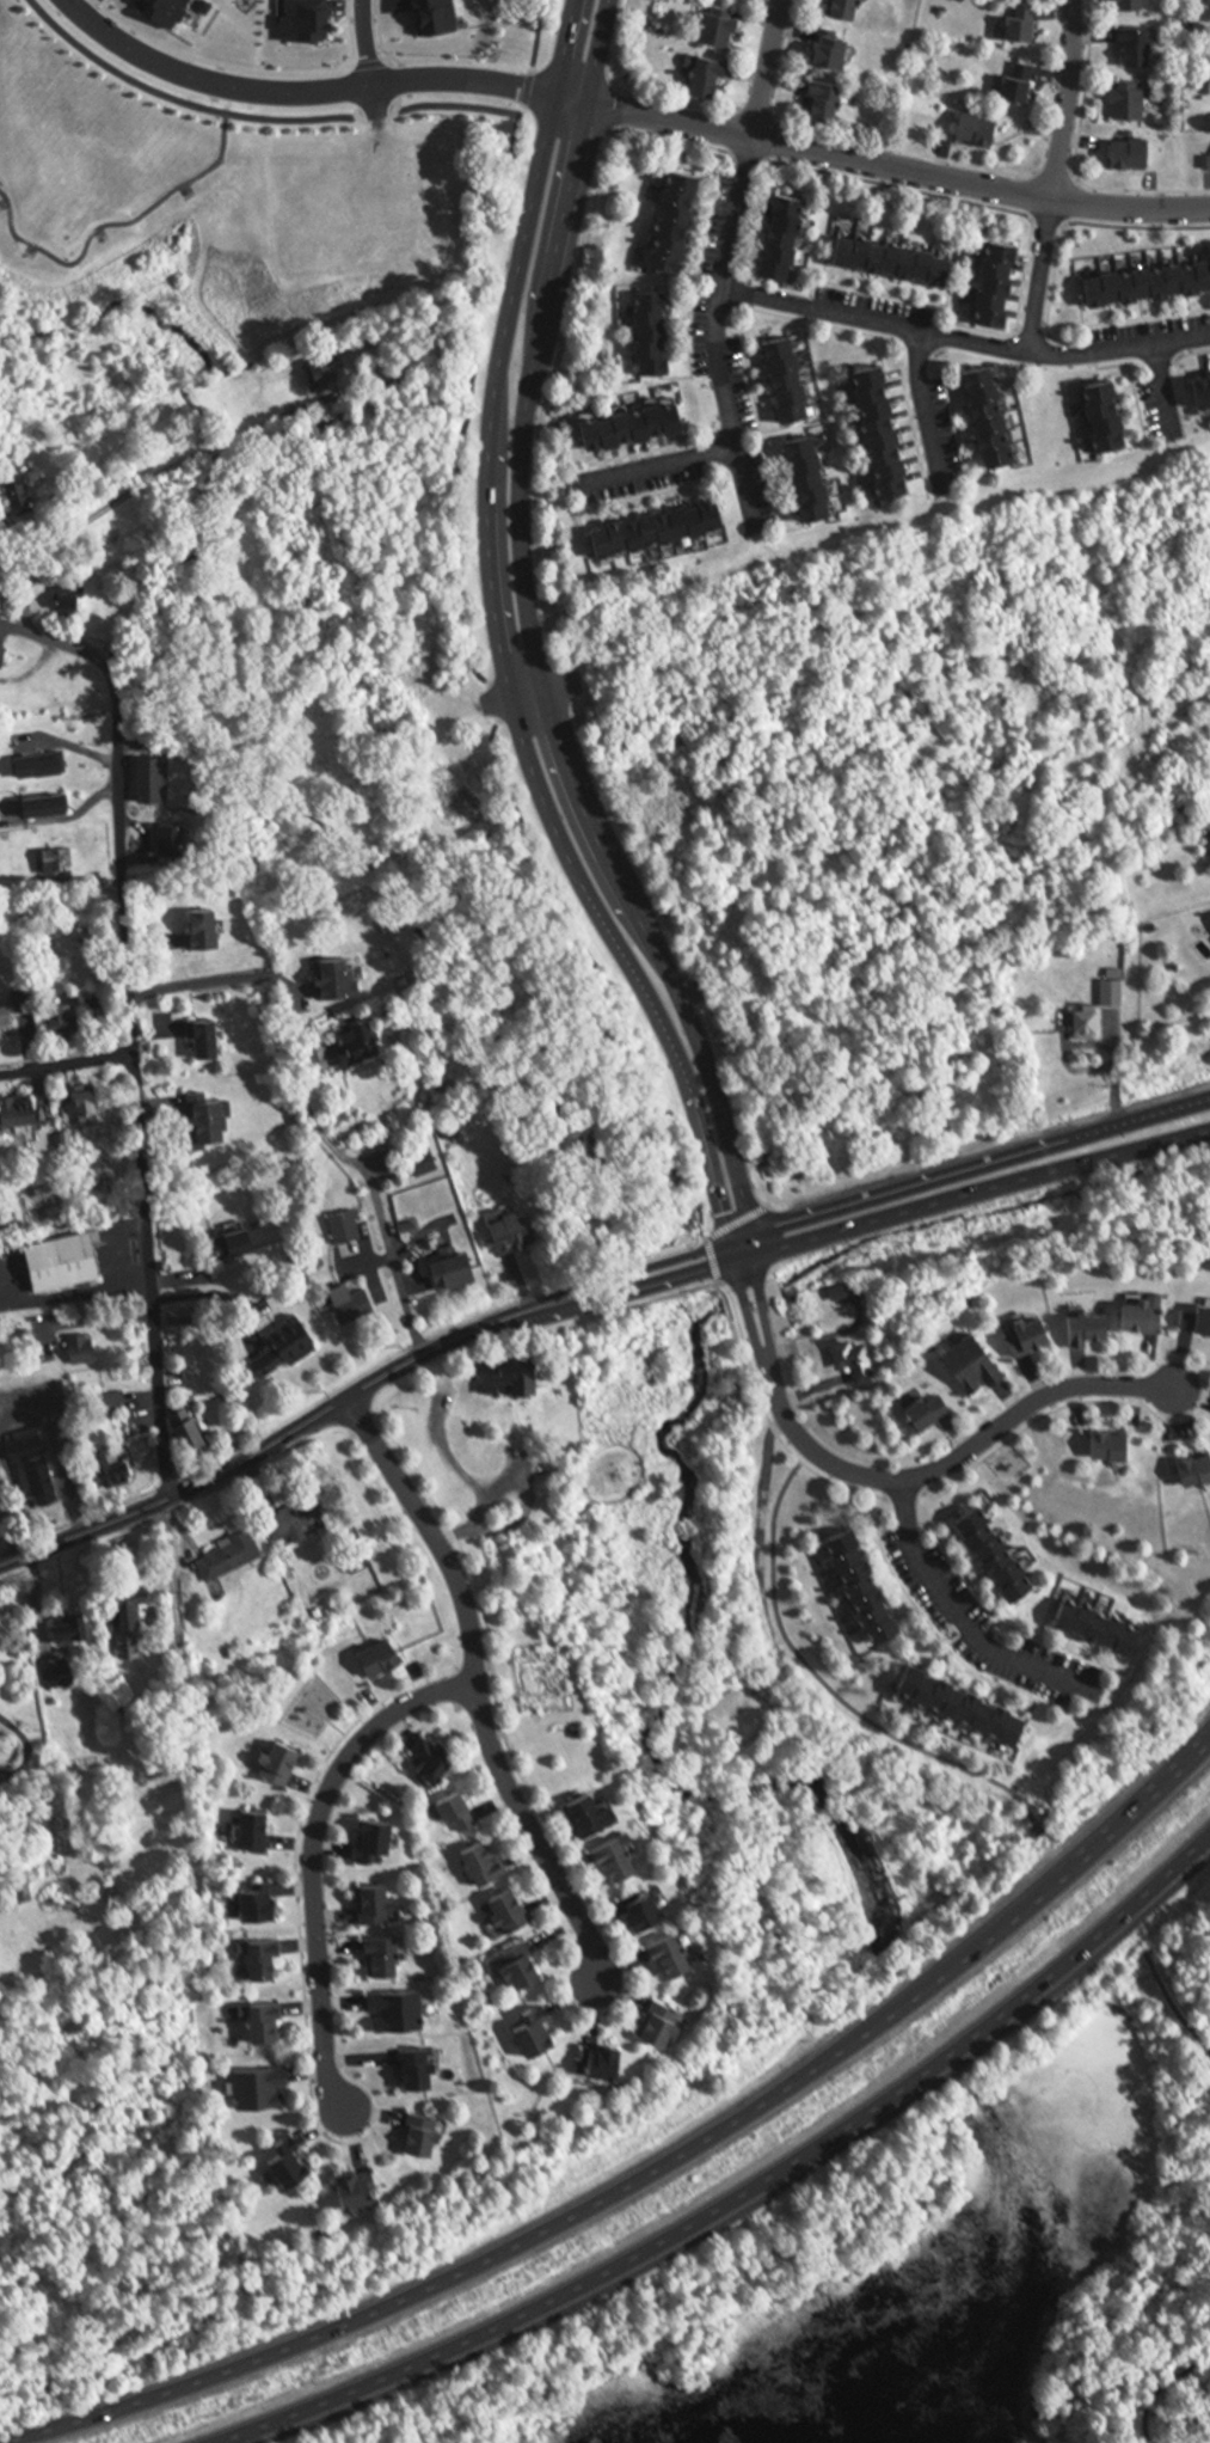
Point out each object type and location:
road: (99, 4)
building: (1136, 4)
road: (85, 7)
building: (849, 8)
building: (1028, 22)
building: (723, 27)
road: (363, 42)
building: (1142, 44)
building: (836, 49)
road: (368, 60)
road: (428, 60)
road: (251, 68)
road: (758, 68)
building: (714, 78)
building: (1024, 84)
road: (308, 92)
road: (1058, 99)
building: (1134, 100)
building: (831, 102)
building: (983, 129)
building: (1140, 153)
road: (890, 167)
building: (681, 222)
building: (788, 238)
building: (899, 259)
road: (1031, 276)
building: (1147, 277)
building: (1003, 282)
road: (868, 323)
building: (658, 333)
road: (713, 341)
road: (1117, 349)
building: (325, 374)
building: (792, 380)
building: (1202, 384)
road: (1156, 396)
building: (988, 410)
building: (1104, 410)
road: (913, 412)
building: (879, 425)
building: (635, 428)
road: (646, 471)
building: (815, 479)
road: (512, 486)
road: (130, 489)
building: (22, 496)
building: (665, 528)
building: (74, 607)
road: (12, 625)
building: (45, 765)
building: (155, 779)
building: (62, 808)
building: (60, 864)
building: (252, 867)
building: (209, 932)
building: (339, 980)
road: (210, 981)
building: (1114, 993)
building: (69, 1020)
building: (8, 1021)
building: (1092, 1023)
road: (129, 1040)
building: (349, 1048)
road: (65, 1069)
road: (725, 1097)
building: (91, 1103)
road: (702, 1104)
building: (24, 1113)
building: (216, 1122)
building: (425, 1164)
road: (882, 1195)
road: (884, 1220)
building: (349, 1230)
building: (518, 1232)
building: (239, 1245)
road: (391, 1257)
building: (63, 1263)
building: (460, 1272)
road: (76, 1293)
building: (358, 1306)
road: (762, 1316)
building: (1149, 1316)
road: (753, 1318)
building: (1199, 1321)
building: (1095, 1331)
building: (1033, 1337)
building: (290, 1347)
building: (85, 1351)
building: (856, 1361)
building: (976, 1367)
building: (512, 1377)
building: (232, 1392)
building: (117, 1401)
building: (928, 1413)
building: (185, 1432)
road: (281, 1439)
building: (1114, 1446)
road: (953, 1457)
building: (37, 1462)
building: (116, 1465)
building: (1197, 1471)
road: (522, 1506)
building: (301, 1518)
road: (429, 1533)
building: (999, 1553)
building: (234, 1554)
building: (868, 1584)
building: (137, 1602)
road: (965, 1622)
building: (1102, 1624)
building: (74, 1625)
building: (385, 1657)
building: (60, 1671)
road: (824, 1685)
building: (970, 1701)
road: (16, 1743)
building: (437, 1757)
building: (283, 1763)
building: (462, 1812)
building: (598, 1813)
building: (257, 1829)
building: (375, 1838)
road: (533, 1838)
road: (308, 1857)
building: (622, 1857)
building: (4, 1859)
building: (486, 1863)
building: (143, 1873)
building: (260, 1903)
building: (379, 1904)
building: (650, 1908)
building: (514, 1910)
building: (677, 1953)
building: (385, 1957)
building: (264, 1958)
building: (524, 1964)
road: (1172, 2006)
building: (400, 2009)
building: (270, 2021)
building: (668, 2022)
building: (541, 2031)
building: (609, 2059)
building: (424, 2067)
building: (265, 2087)
building: (428, 2133)
building: (293, 2160)
road: (650, 2166)
building: (360, 2188)
road: (742, 2192)
road: (1162, 2389)

